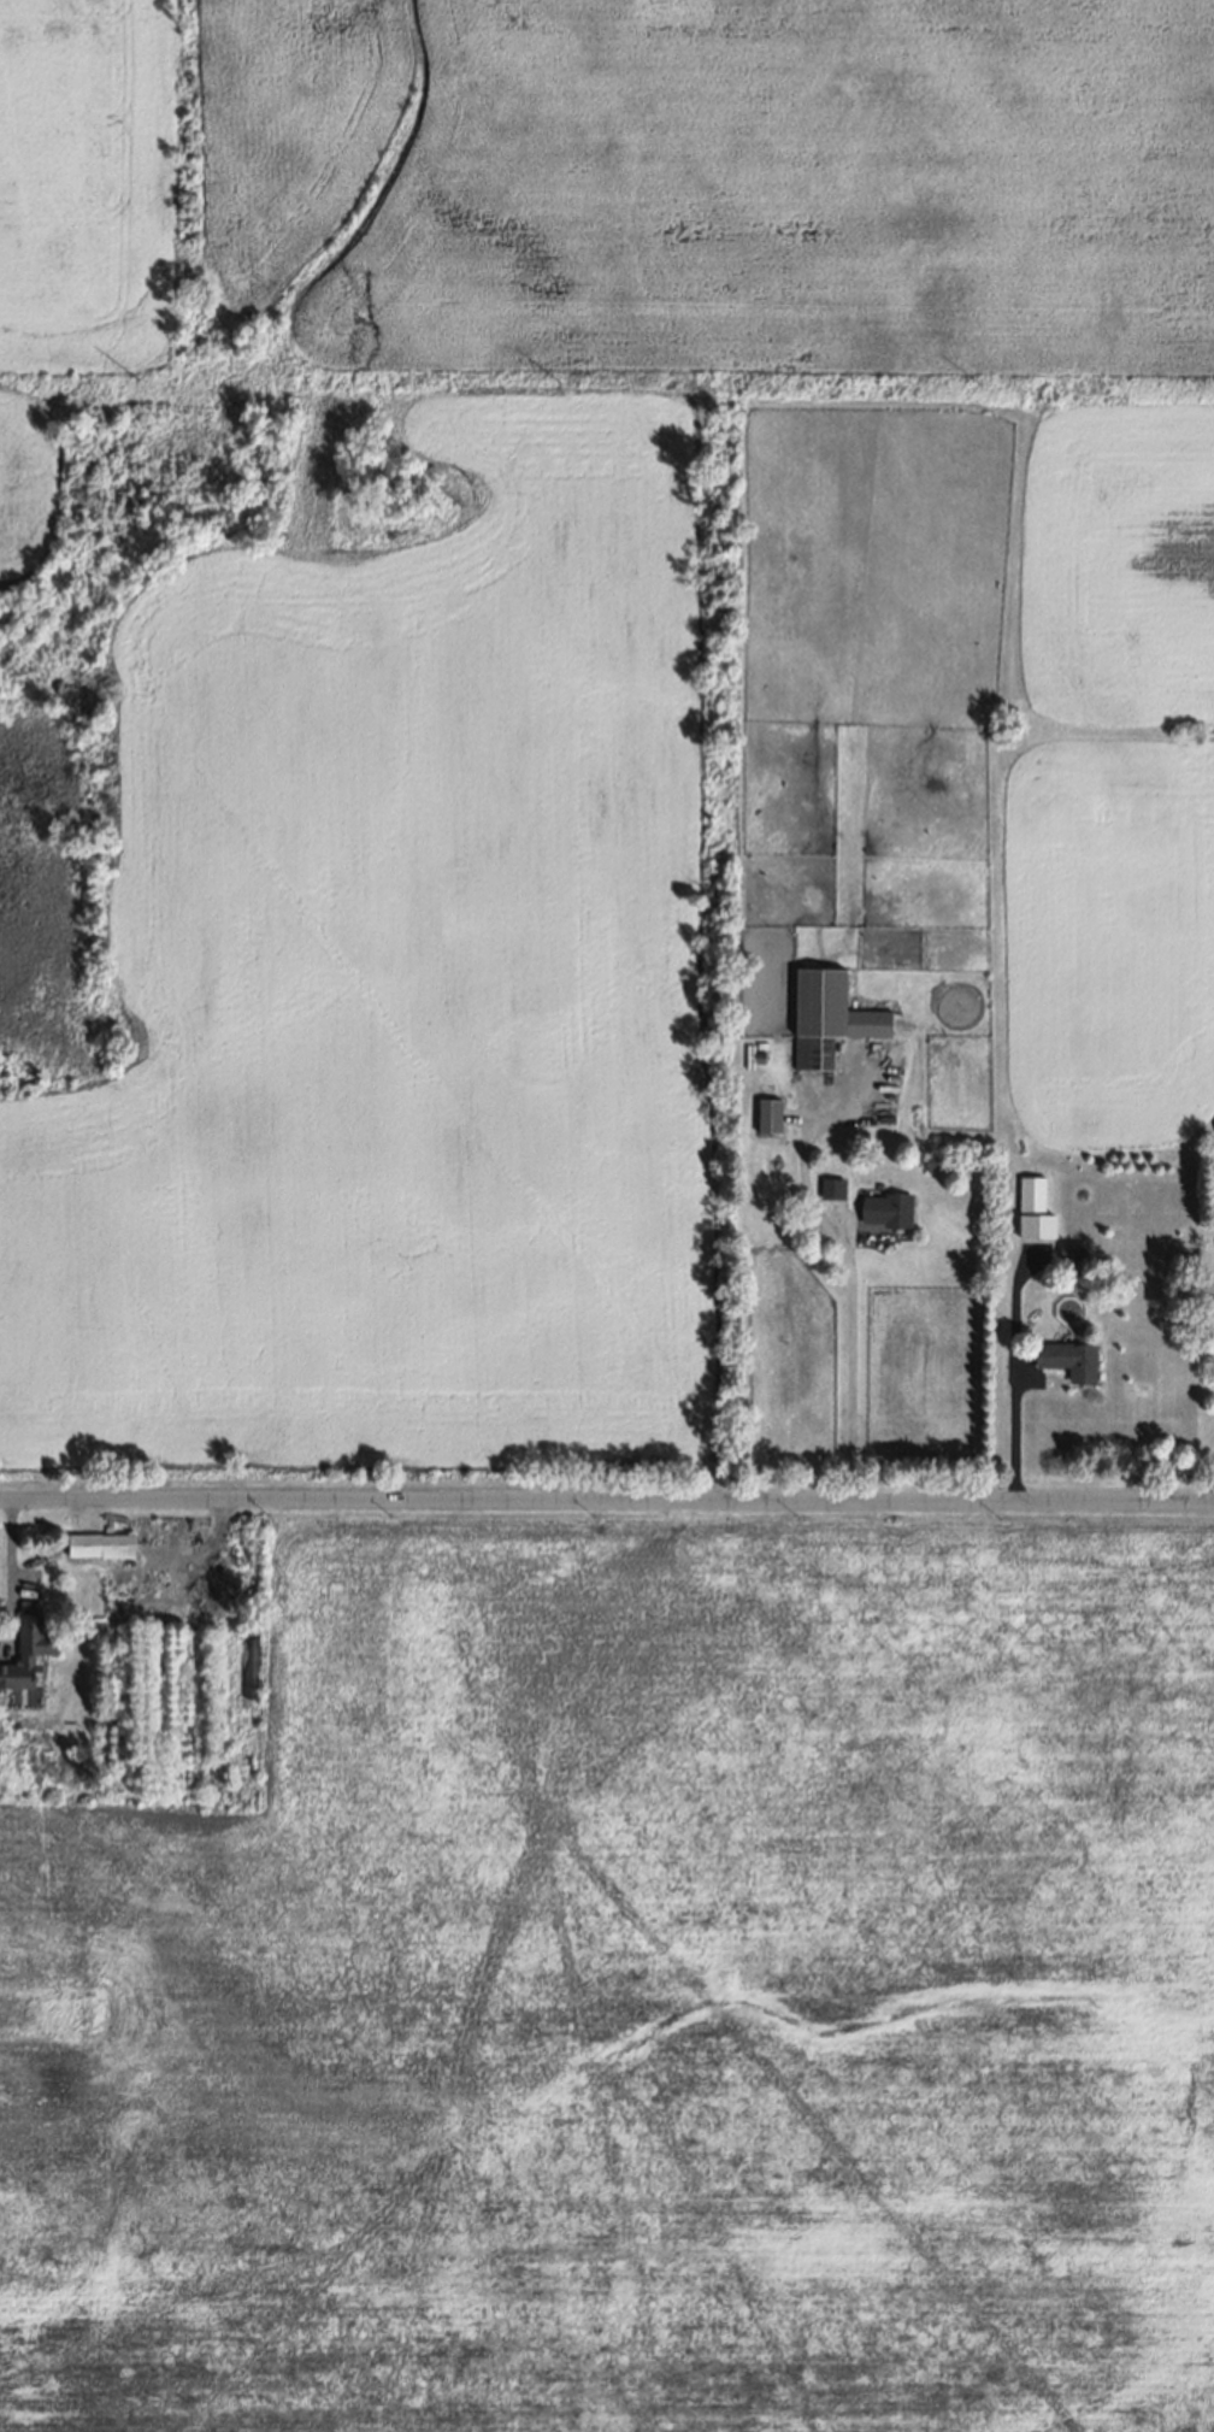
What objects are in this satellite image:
building: (825, 1018)
building: (764, 1115)
building: (831, 1185)
building: (884, 1208)
building: (1025, 1208)
building: (1063, 1252)
road: (844, 1258)
building: (1059, 1360)
road: (1014, 1378)
road: (607, 1498)
building: (95, 1545)
road: (16, 1567)
building: (25, 1647)
building: (5, 1708)

